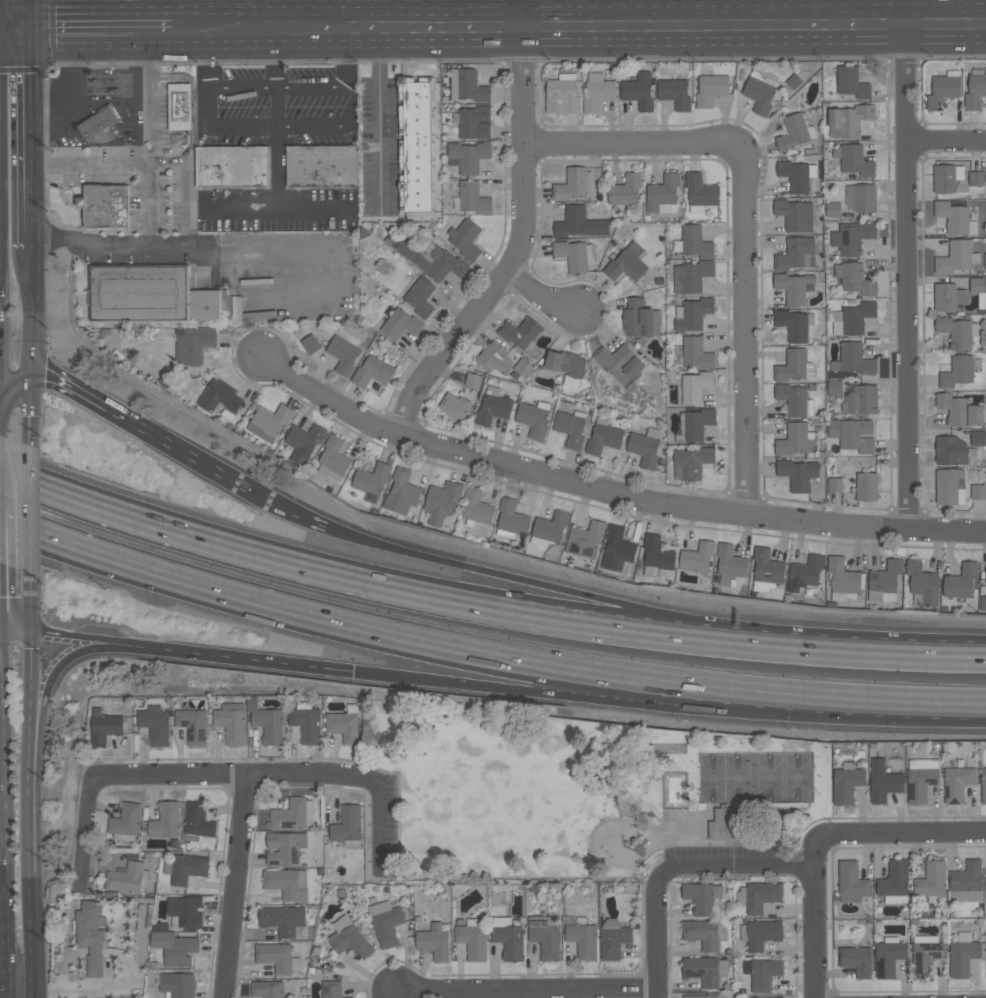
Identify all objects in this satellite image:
road: (848, 11)
road: (900, 11)
road: (689, 12)
road: (33, 14)
road: (160, 14)
road: (243, 14)
road: (578, 25)
road: (17, 29)
traffic signals: (34, 29)
road: (102, 29)
road: (349, 56)
road: (209, 58)
building: (852, 82)
building: (467, 85)
building: (711, 89)
building: (943, 89)
building: (975, 89)
building: (639, 90)
building: (598, 91)
building: (675, 92)
building: (562, 94)
building: (759, 94)
gas station: (96, 106)
building: (180, 106)
building: (108, 115)
road: (276, 118)
road: (379, 118)
building: (849, 120)
building: (474, 122)
building: (92, 126)
road: (285, 128)
building: (795, 131)
road: (34, 137)
road: (151, 137)
road: (945, 139)
road: (634, 141)
building: (415, 143)
building: (468, 156)
building: (854, 160)
building: (231, 166)
building: (322, 166)
road: (92, 168)
building: (797, 175)
building: (946, 177)
building: (975, 178)
building: (571, 184)
road: (185, 187)
building: (625, 190)
building: (700, 192)
building: (663, 194)
building: (471, 197)
building: (860, 197)
building: (105, 205)
building: (833, 209)
building: (795, 214)
building: (953, 217)
building: (579, 223)
building: (851, 236)
building: (465, 238)
building: (694, 242)
road: (188, 244)
road: (512, 248)
building: (575, 254)
building: (798, 254)
building: (956, 257)
building: (434, 260)
building: (626, 262)
building: (691, 276)
road: (906, 276)
building: (854, 278)
building: (977, 285)
building: (793, 287)
building: (148, 294)
road: (538, 294)
building: (420, 296)
building: (947, 296)
road: (34, 311)
building: (691, 313)
building: (641, 318)
building: (852, 318)
building: (399, 322)
building: (792, 324)
road: (747, 327)
building: (957, 331)
building: (520, 332)
building: (194, 343)
building: (310, 344)
building: (696, 352)
building: (343, 354)
building: (494, 358)
building: (853, 359)
building: (619, 362)
building: (793, 365)
building: (566, 366)
building: (521, 369)
building: (373, 371)
building: (957, 371)
traffic signals: (35, 377)
building: (473, 380)
road: (14, 384)
road: (72, 386)
building: (696, 386)
building: (834, 387)
building: (219, 396)
building: (792, 399)
building: (861, 400)
building: (454, 405)
building: (493, 406)
road: (33, 409)
building: (960, 410)
building: (533, 419)
building: (269, 422)
building: (695, 424)
building: (571, 427)
building: (852, 434)
building: (603, 437)
building: (977, 438)
building: (796, 439)
building: (304, 442)
building: (644, 447)
road: (184, 449)
building: (953, 450)
building: (333, 457)
building: (692, 461)
building: (798, 473)
building: (371, 478)
building: (835, 484)
building: (867, 486)
building: (950, 486)
road: (610, 489)
building: (978, 491)
building: (402, 493)
building: (441, 501)
building: (476, 507)
road: (30, 512)
road: (300, 513)
building: (511, 519)
building: (549, 529)
building: (585, 542)
building: (617, 548)
building: (656, 554)
building: (697, 557)
building: (730, 563)
building: (766, 569)
building: (804, 573)
road: (347, 579)
building: (842, 579)
building: (884, 581)
building: (961, 581)
building: (922, 583)
building: (985, 583)
road: (523, 584)
building: (983, 603)
road: (31, 608)
road: (16, 630)
road: (348, 631)
traffic signals: (33, 635)
road: (81, 640)
road: (846, 651)
road: (240, 657)
road: (65, 665)
road: (30, 675)
road: (531, 682)
road: (847, 710)
building: (306, 721)
building: (231, 722)
building: (344, 723)
building: (154, 724)
building: (269, 724)
building: (193, 725)
building: (103, 726)
road: (233, 774)
park: (755, 777)
building: (921, 778)
building: (883, 781)
building: (847, 782)
building: (957, 783)
building: (983, 785)
road: (2, 786)
park: (583, 792)
road: (28, 795)
building: (293, 814)
building: (166, 820)
building: (126, 821)
building: (196, 822)
building: (722, 824)
building: (347, 825)
road: (378, 825)
road: (83, 834)
road: (906, 834)
building: (285, 848)
road: (735, 867)
building: (185, 868)
building: (126, 878)
building: (931, 879)
building: (851, 881)
building: (965, 881)
building: (285, 882)
building: (894, 882)
road: (236, 886)
building: (699, 897)
building: (762, 897)
building: (185, 910)
road: (813, 913)
building: (284, 920)
building: (386, 922)
building: (704, 933)
building: (760, 933)
building: (90, 934)
road: (29, 936)
building: (546, 936)
road: (655, 936)
building: (508, 937)
building: (472, 938)
building: (583, 938)
building: (613, 938)
building: (349, 939)
building: (434, 942)
building: (985, 942)
road: (4, 945)
building: (174, 947)
building: (926, 954)
building: (963, 954)
building: (889, 956)
building: (276, 957)
building: (856, 959)
building: (705, 970)
building: (762, 973)
building: (177, 985)
building: (267, 989)
building: (331, 989)
road: (526, 990)
road: (395, 993)
building: (701, 996)
building: (349, 997)
building: (773, 997)
building: (779, 997)

